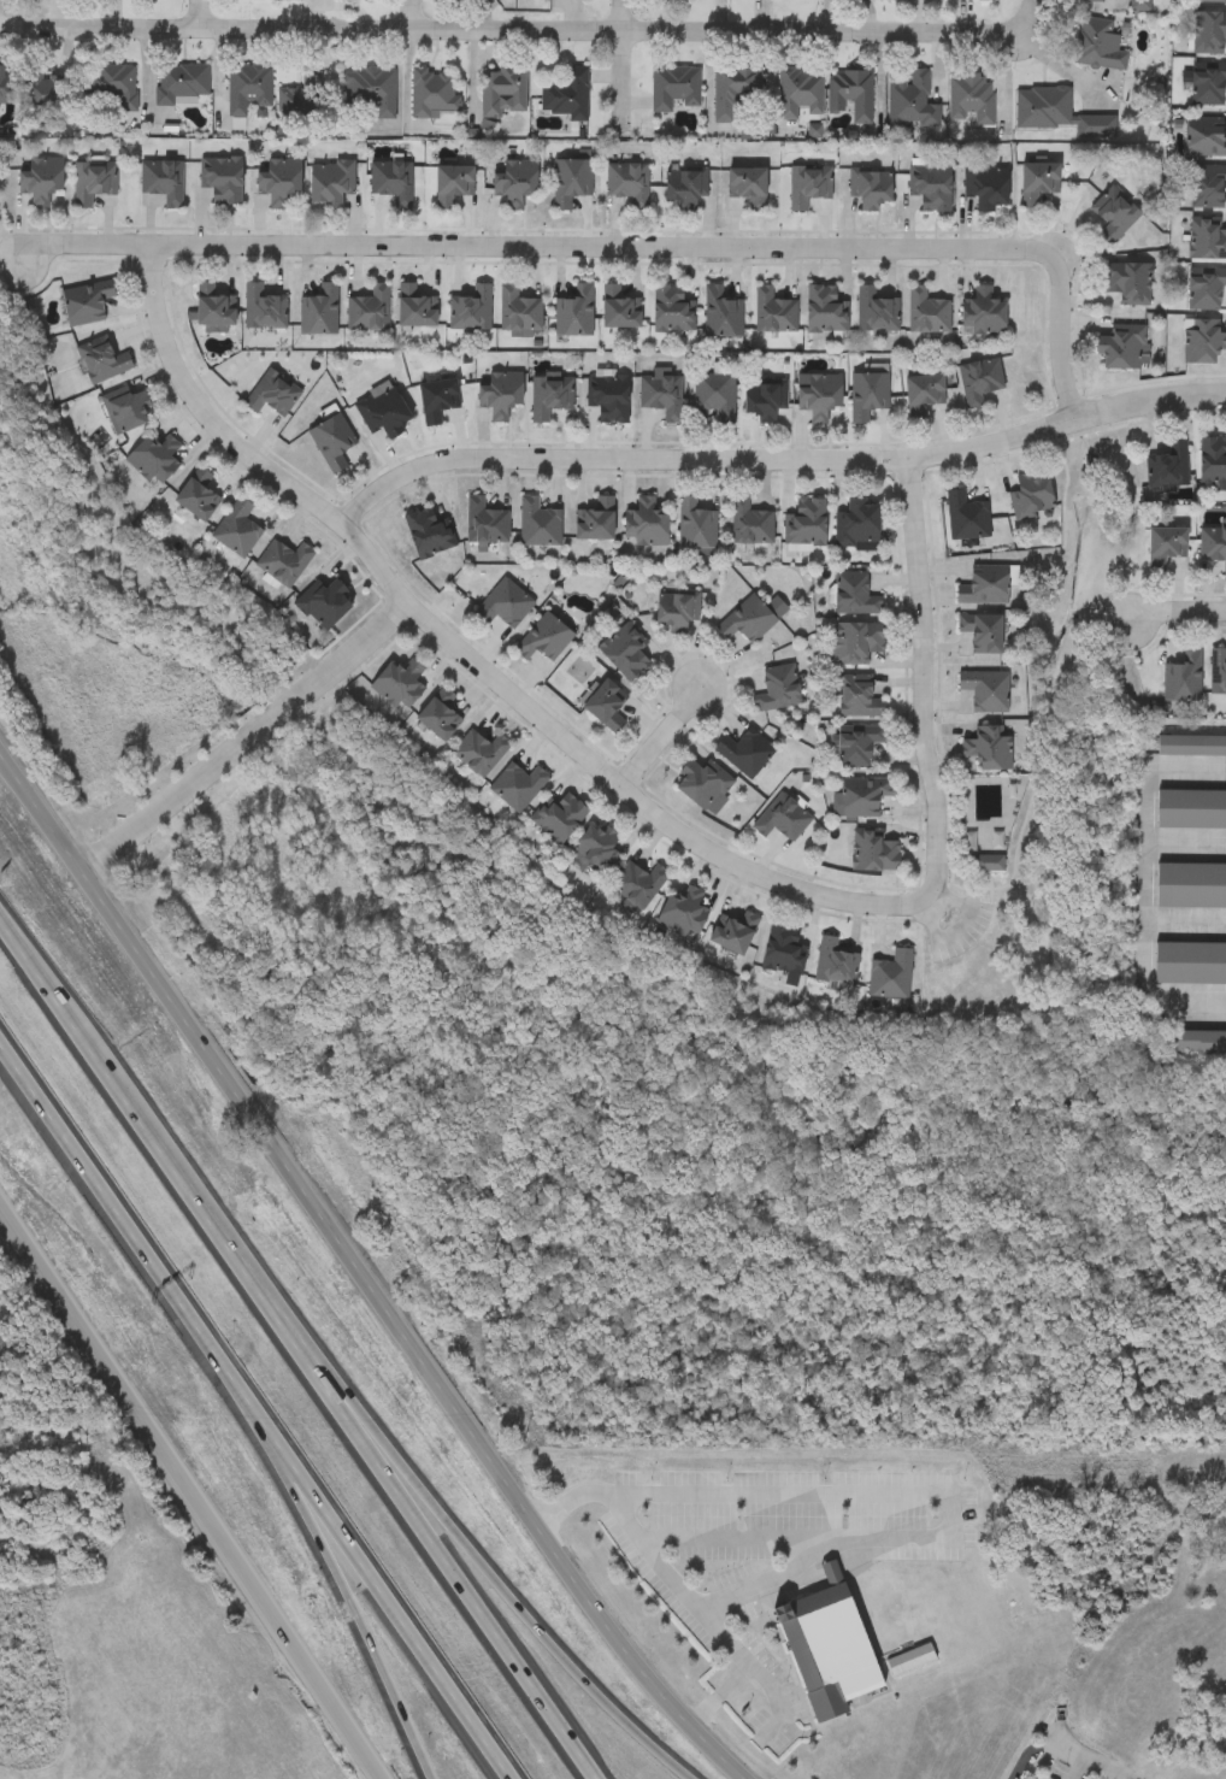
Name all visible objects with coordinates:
building: (572, 0)
building: (671, 0)
building: (921, 0)
building: (1089, 1)
building: (1213, 1)
road: (201, 14)
road: (411, 16)
road: (833, 17)
road: (525, 33)
building: (1209, 33)
building: (1100, 46)
road: (624, 61)
road: (1056, 61)
building: (5, 84)
building: (179, 84)
building: (1208, 84)
building: (45, 87)
building: (108, 89)
building: (248, 89)
building: (674, 89)
building: (731, 92)
building: (503, 93)
building: (367, 94)
building: (432, 94)
building: (798, 94)
building: (566, 95)
building: (850, 95)
building: (301, 99)
building: (971, 101)
building: (912, 104)
building: (1050, 112)
building: (1207, 139)
building: (222, 179)
building: (41, 181)
building: (278, 181)
building: (164, 182)
building: (331, 182)
building: (514, 182)
building: (571, 182)
building: (1039, 182)
building: (391, 183)
building: (629, 184)
building: (453, 185)
building: (94, 187)
building: (685, 187)
building: (807, 187)
building: (871, 187)
building: (931, 187)
building: (988, 187)
building: (748, 188)
building: (1208, 188)
building: (1115, 216)
building: (1208, 238)
road: (618, 248)
building: (1130, 284)
building: (1206, 289)
building: (87, 304)
building: (264, 308)
building: (415, 308)
building: (620, 308)
building: (214, 310)
building: (369, 310)
building: (472, 310)
building: (672, 310)
building: (825, 310)
building: (519, 311)
building: (876, 311)
building: (319, 312)
building: (773, 312)
building: (927, 312)
building: (984, 313)
building: (573, 314)
building: (721, 314)
building: (1203, 342)
building: (1120, 348)
building: (104, 361)
building: (979, 382)
building: (272, 395)
building: (500, 395)
building: (662, 395)
building: (924, 395)
building: (550, 396)
building: (715, 396)
building: (867, 396)
building: (608, 397)
building: (819, 397)
building: (765, 400)
building: (438, 401)
building: (126, 411)
building: (383, 412)
building: (332, 443)
building: (155, 460)
road: (777, 460)
building: (1213, 463)
building: (1168, 467)
building: (199, 496)
building: (1032, 497)
building: (966, 518)
building: (595, 522)
building: (485, 524)
building: (538, 524)
building: (647, 524)
building: (750, 524)
building: (806, 524)
building: (696, 526)
building: (857, 526)
building: (237, 530)
building: (429, 534)
building: (1166, 547)
building: (1213, 547)
building: (284, 564)
building: (984, 587)
building: (854, 596)
building: (325, 605)
building: (505, 605)
building: (678, 611)
road: (1181, 614)
building: (748, 622)
building: (983, 632)
building: (546, 638)
building: (861, 646)
road: (475, 649)
building: (625, 652)
building: (1218, 672)
road: (920, 678)
building: (1184, 678)
building: (400, 685)
building: (779, 689)
building: (985, 691)
building: (861, 696)
building: (607, 706)
building: (438, 719)
road: (678, 735)
road: (255, 740)
building: (857, 746)
building: (989, 747)
building: (1192, 747)
building: (481, 753)
building: (744, 753)
building: (701, 784)
building: (518, 787)
building: (861, 799)
building: (1192, 811)
building: (560, 818)
building: (783, 819)
building: (599, 848)
building: (874, 853)
building: (988, 864)
road: (1145, 884)
building: (638, 885)
building: (1191, 888)
building: (685, 913)
road: (956, 927)
building: (735, 933)
building: (784, 952)
building: (835, 962)
building: (1190, 966)
building: (890, 977)
building: (1200, 1044)
road: (134, 1230)
road: (367, 1277)
road: (300, 1343)
road: (189, 1492)
road: (951, 1502)
building: (866, 1503)
road: (782, 1575)
road: (505, 1584)
road: (682, 1584)
road: (350, 1602)
road: (389, 1602)
building: (830, 1655)
road: (779, 1702)
road: (1043, 1746)
road: (1102, 1765)

